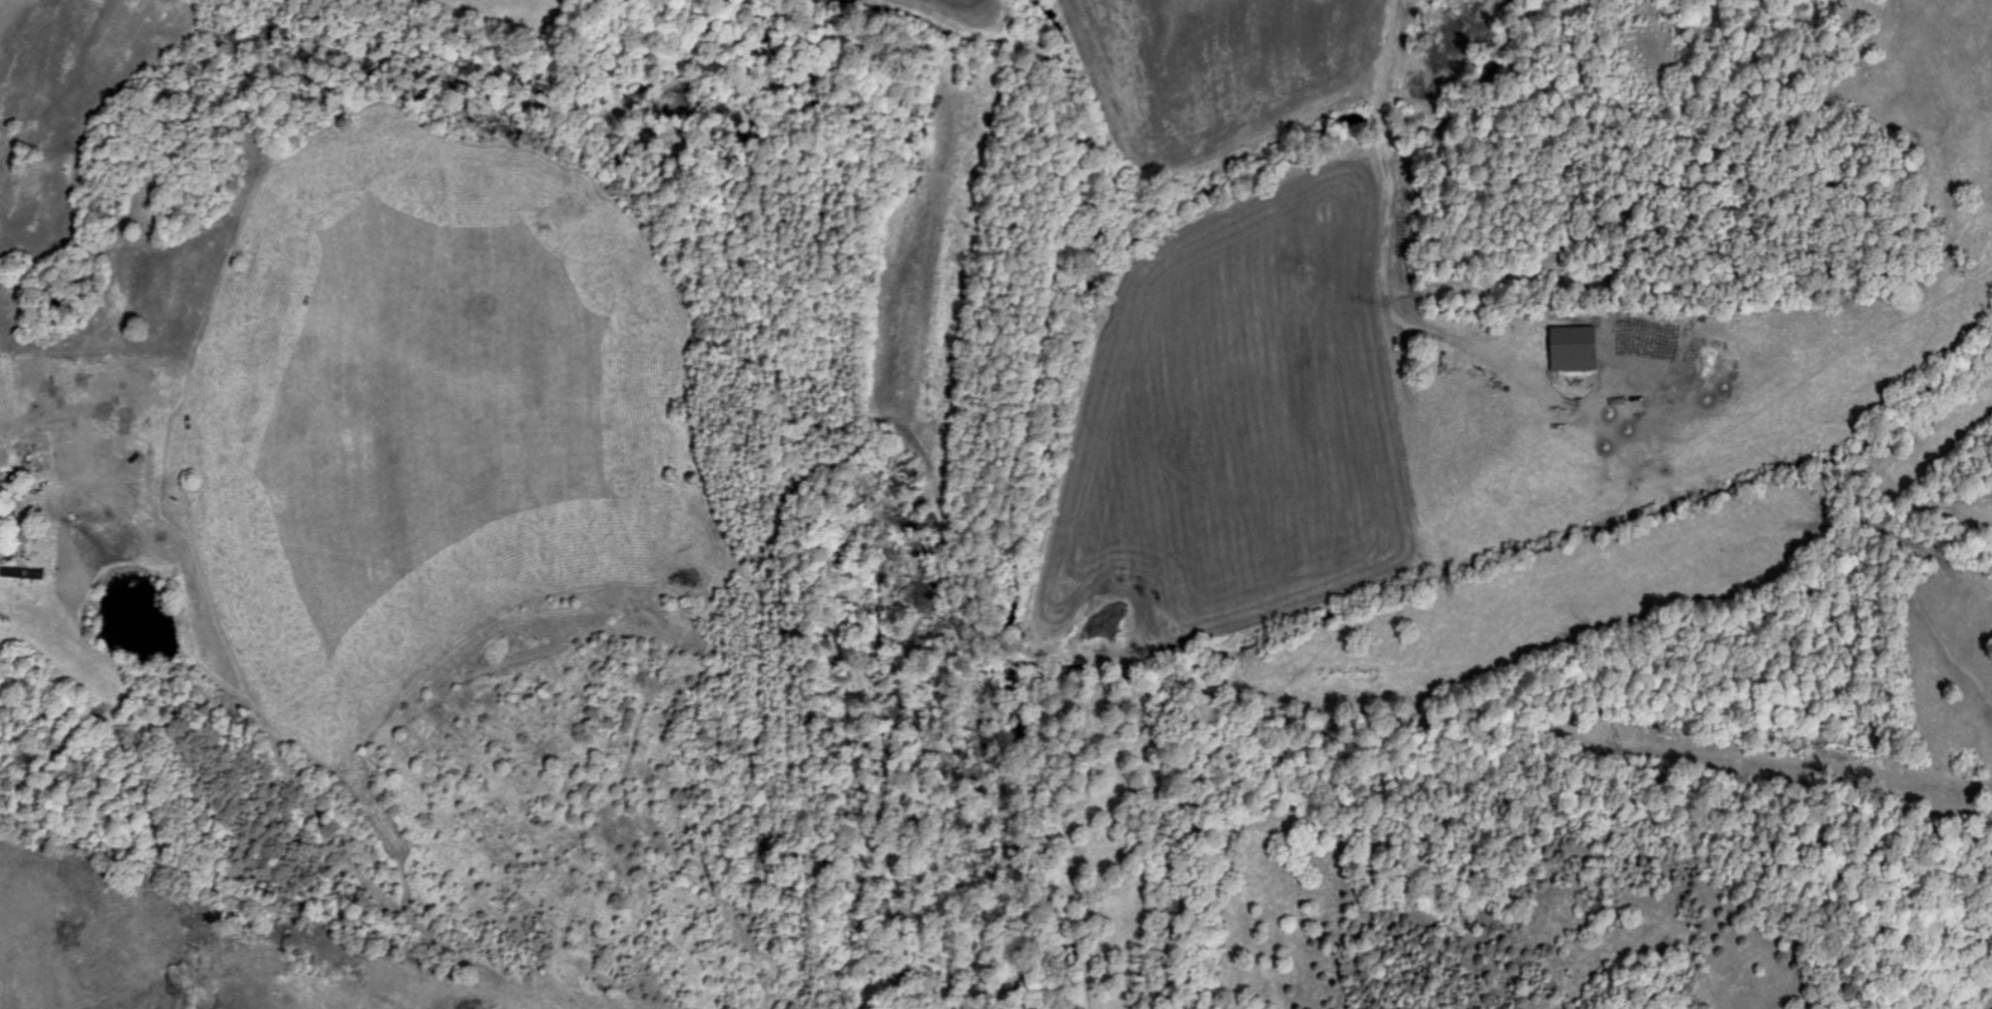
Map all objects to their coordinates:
building: (1572, 349)
building: (22, 573)

